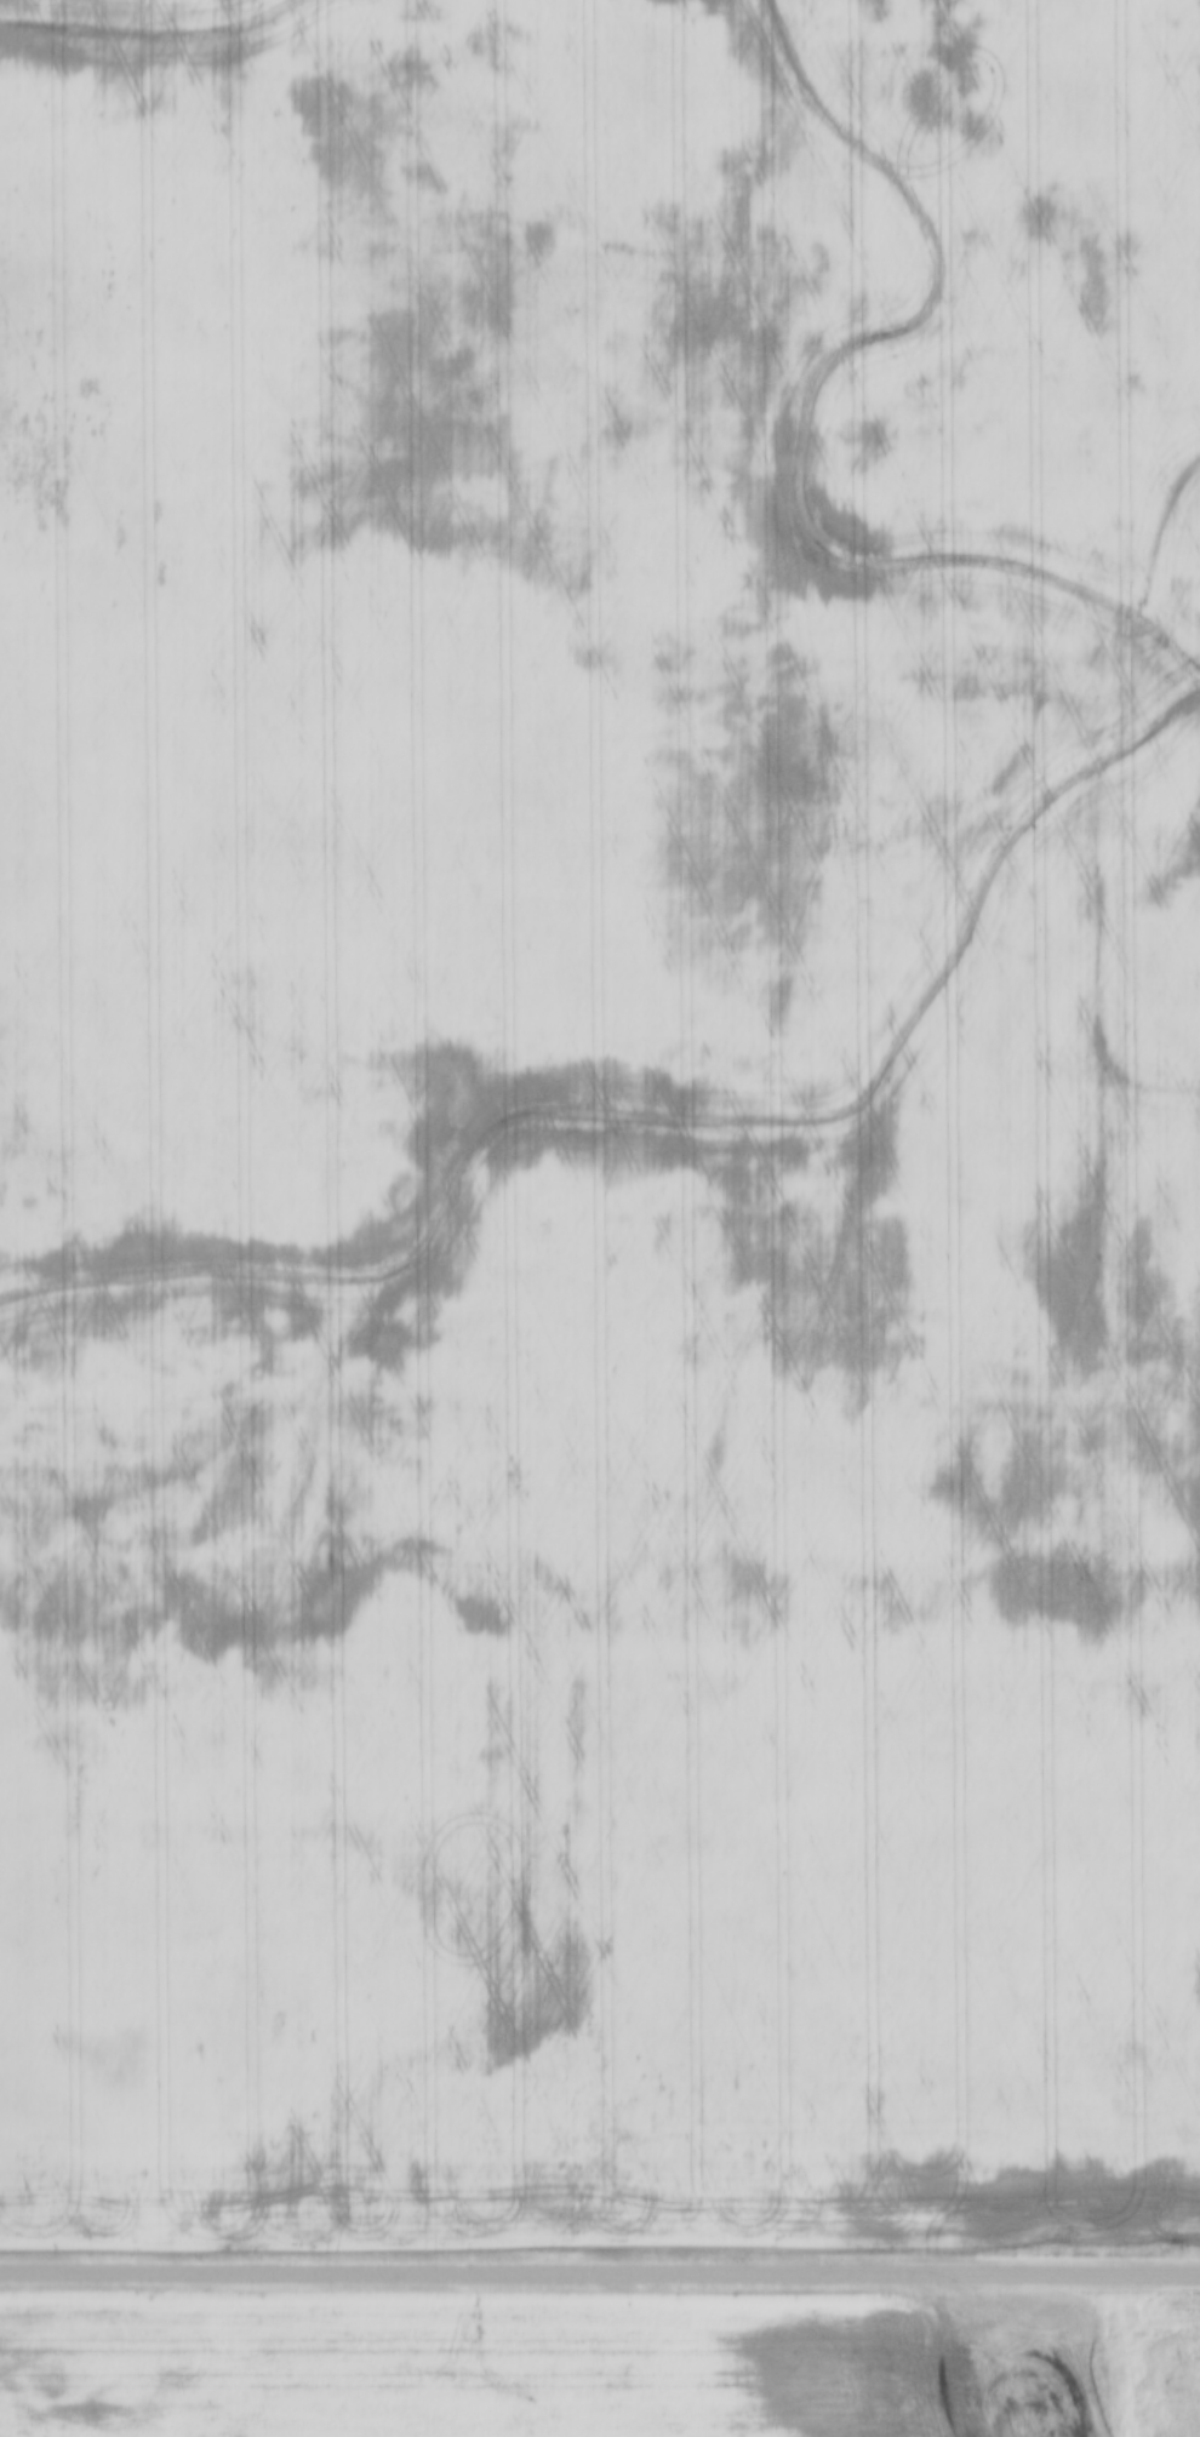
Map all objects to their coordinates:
road: (600, 2277)

